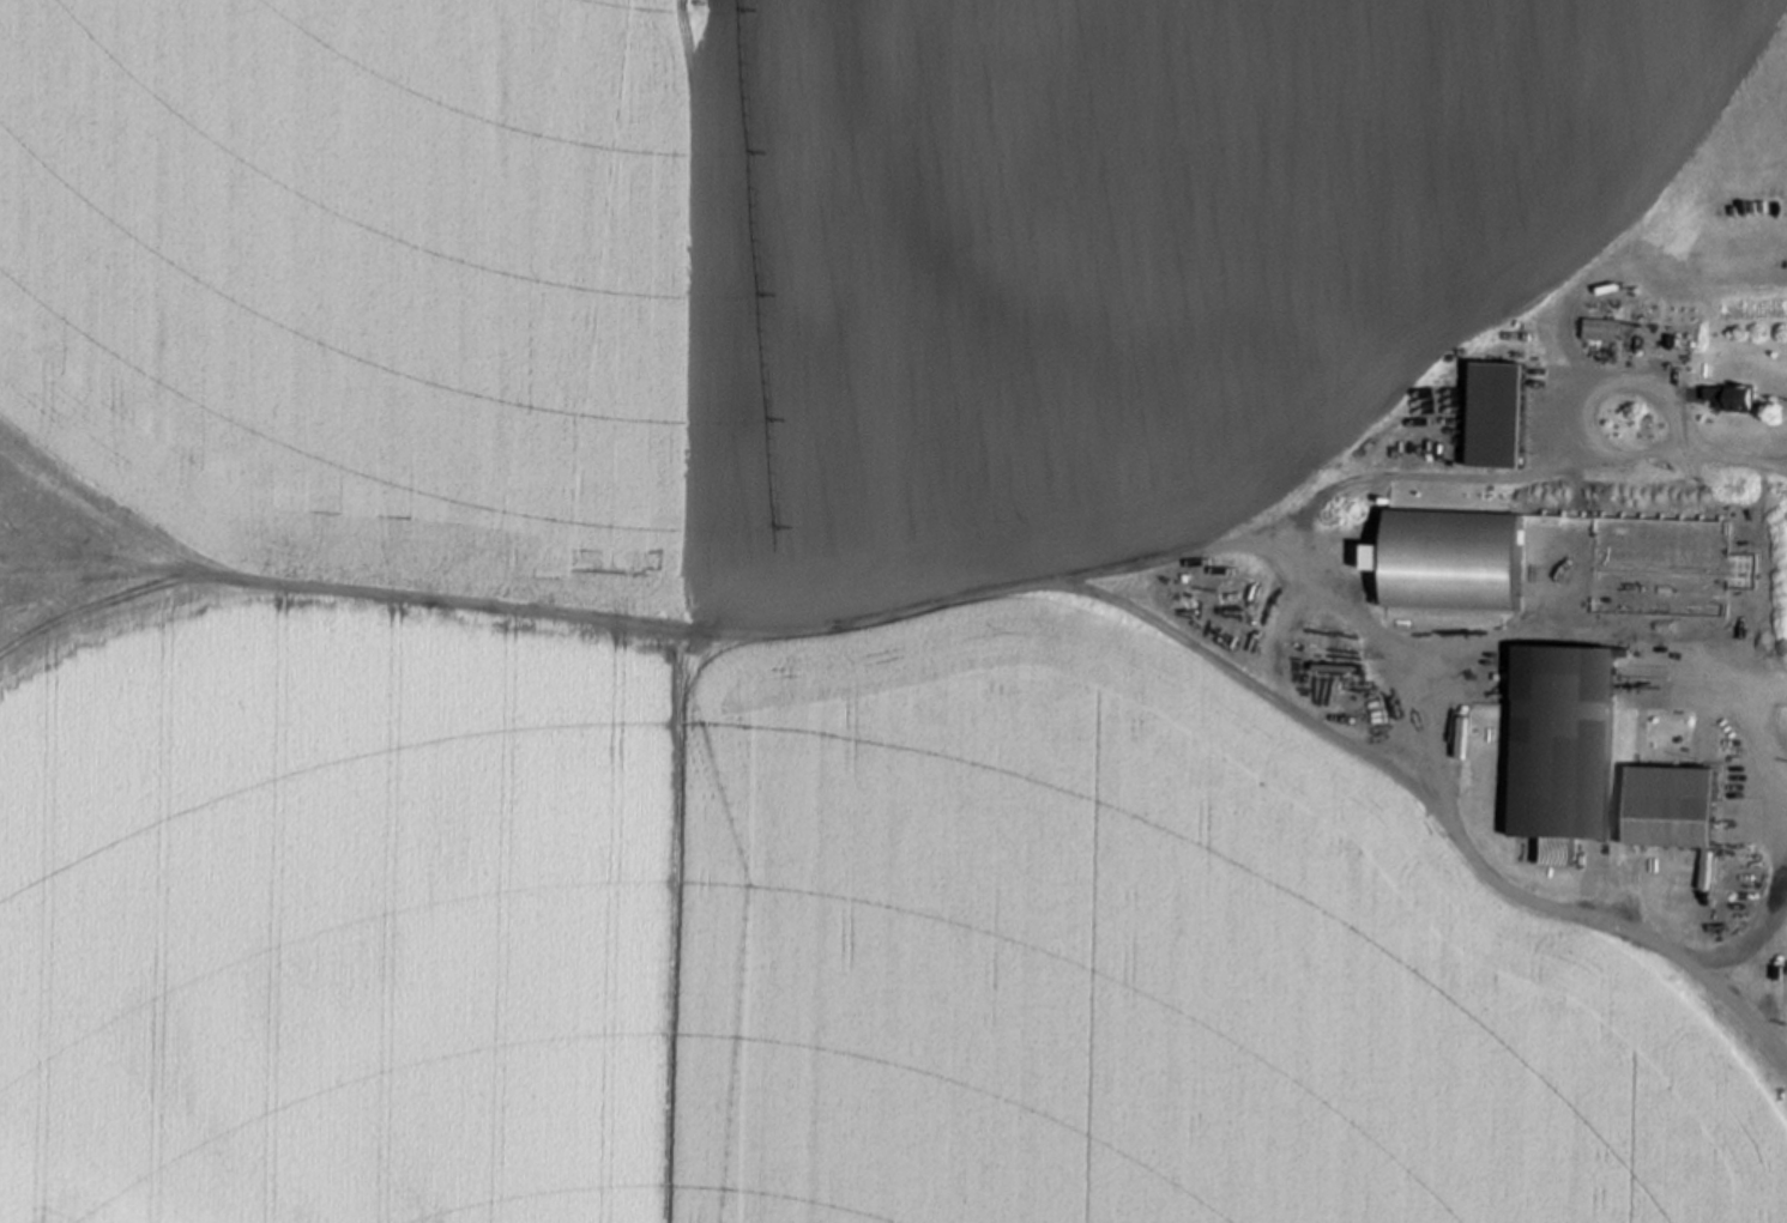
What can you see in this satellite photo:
building: (1605, 329)
building: (1737, 398)
road: (1696, 449)
building: (1442, 546)
building: (1661, 594)
road: (1703, 599)
crop: (893, 611)
road: (813, 626)
building: (1569, 750)
road: (1427, 774)
building: (1676, 806)
road: (1752, 914)

